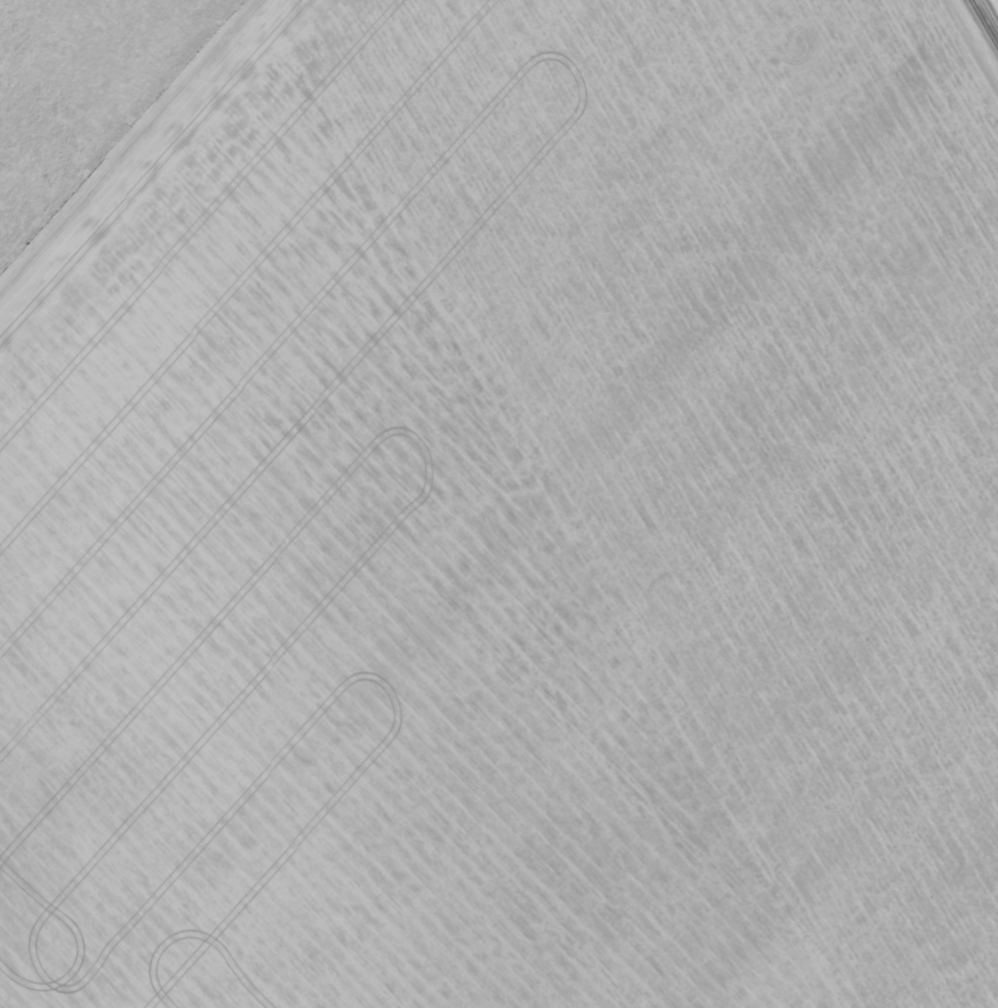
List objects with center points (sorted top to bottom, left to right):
road: (986, 20)

